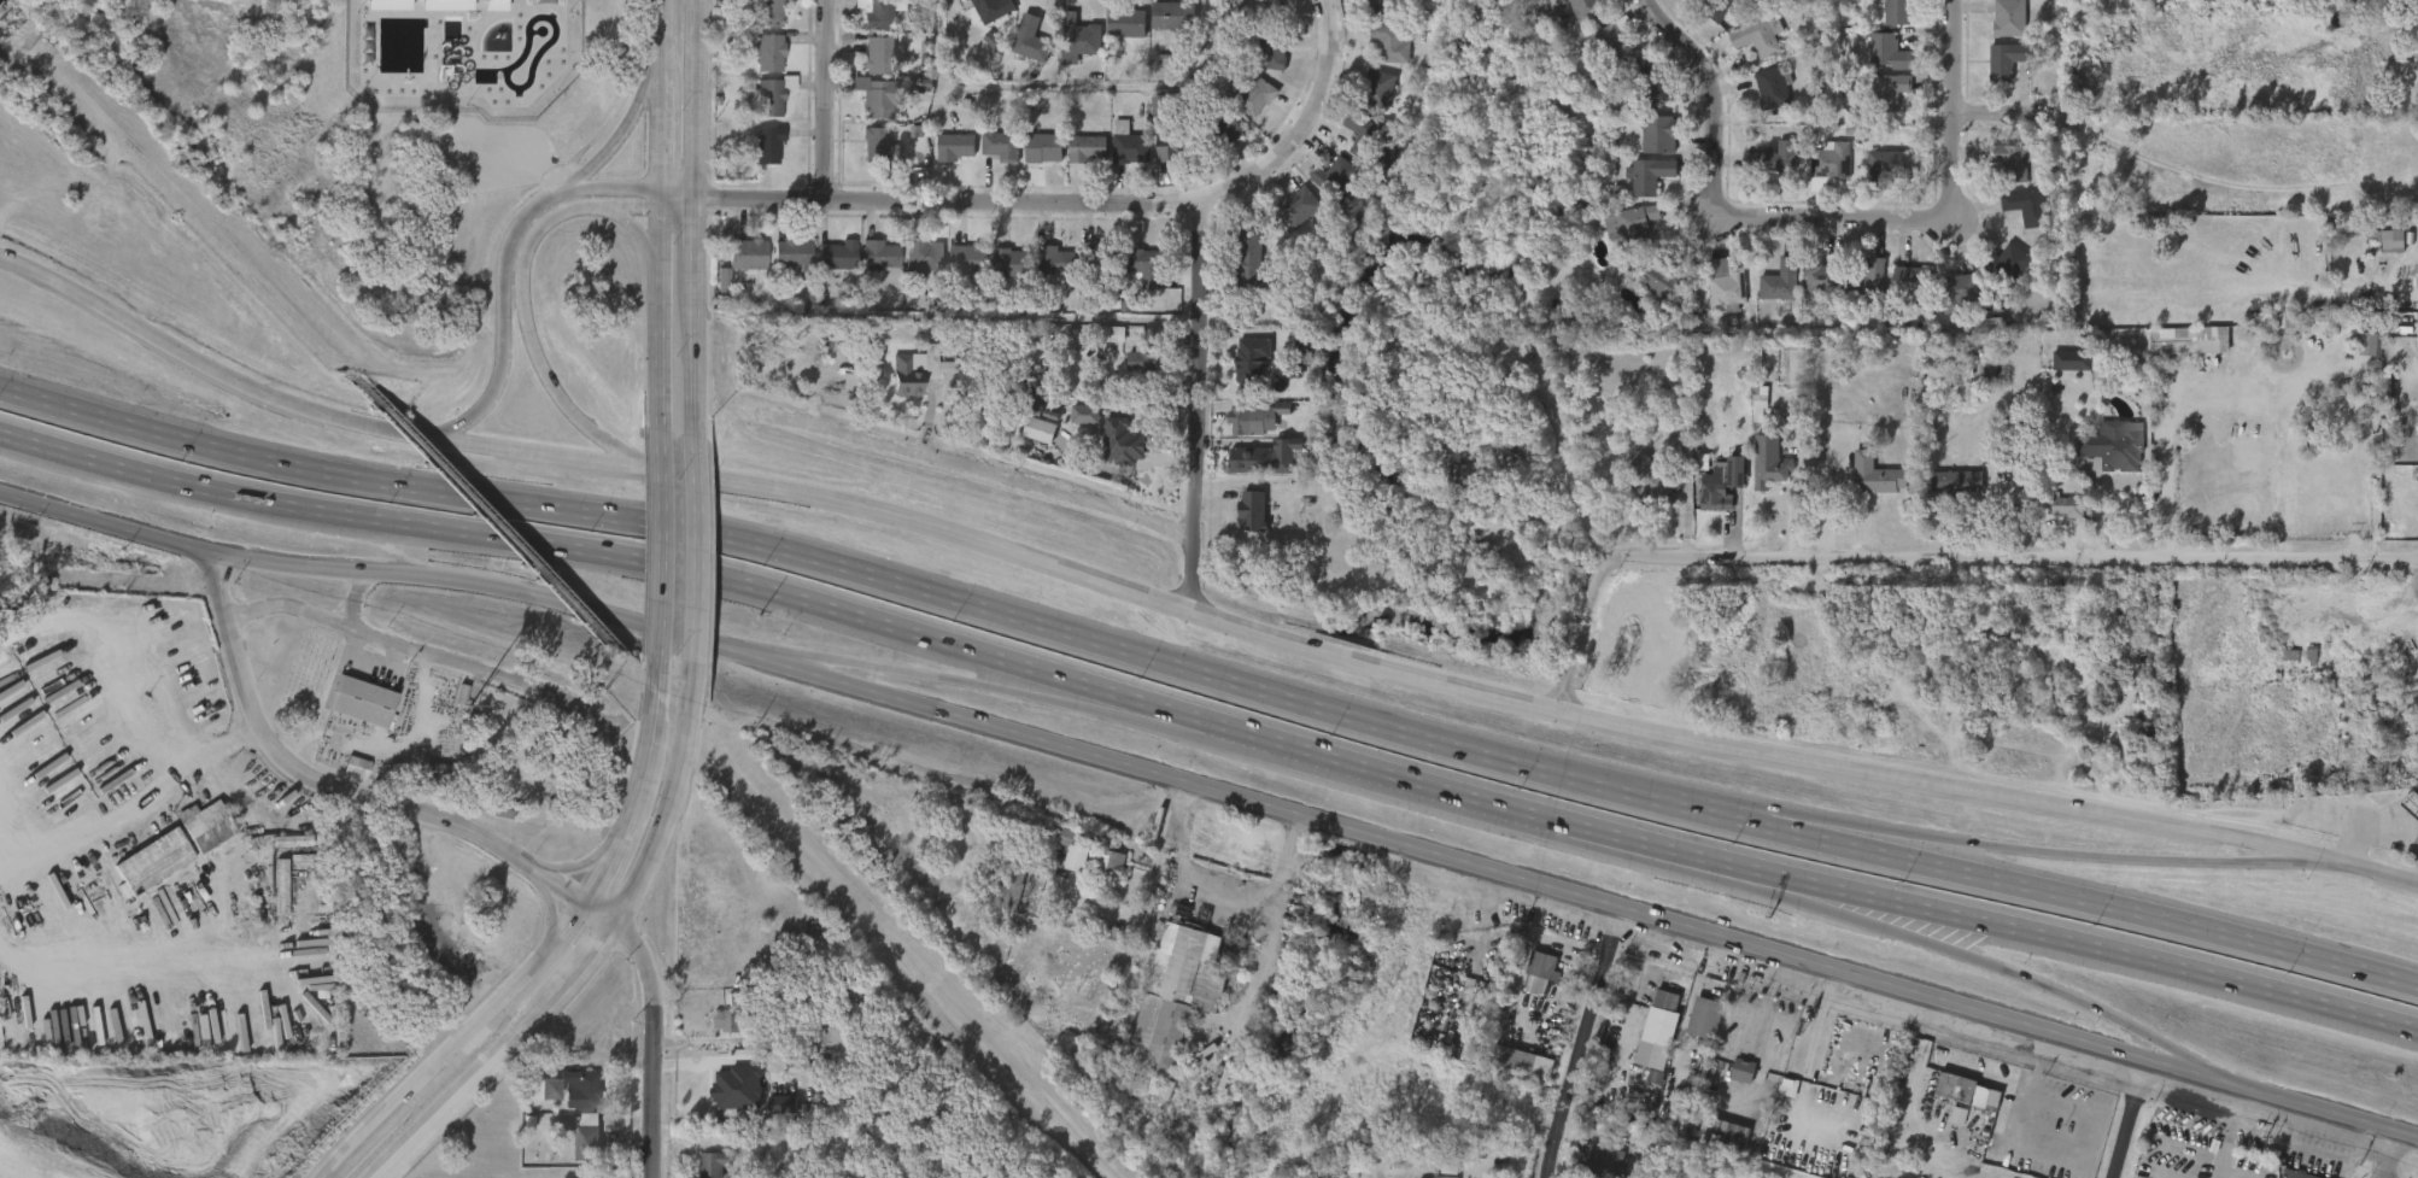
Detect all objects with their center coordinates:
building: (1384, 6)
building: (1716, 7)
building: (991, 8)
building: (1589, 10)
building: (1261, 11)
building: (1896, 11)
building: (766, 13)
building: (878, 13)
building: (1171, 16)
building: (2008, 18)
building: (1123, 20)
building: (1569, 22)
building: (866, 23)
building: (1155, 28)
building: (1997, 30)
building: (1116, 36)
building: (1758, 36)
building: (1032, 37)
building: (1079, 39)
building: (1391, 41)
building: (1612, 43)
building: (1746, 48)
building: (2414, 49)
building: (1270, 51)
building: (1887, 51)
building: (1019, 52)
building: (1069, 52)
building: (766, 53)
building: (877, 54)
building: (1377, 54)
building: (2006, 59)
building: (1873, 63)
building: (1259, 66)
building: (867, 68)
building: (1995, 72)
building: (1653, 86)
road: (1064, 87)
building: (1772, 87)
building: (1376, 89)
building: (1887, 90)
building: (768, 94)
building: (1249, 94)
road: (1951, 96)
building: (882, 98)
road: (827, 100)
building: (1760, 100)
building: (1644, 107)
road: (1981, 109)
building: (867, 112)
building: (2325, 112)
road: (1302, 125)
building: (1218, 130)
building: (1661, 134)
building: (1363, 135)
building: (1110, 139)
road: (617, 140)
park: (421, 141)
park: (367, 143)
building: (766, 143)
building: (1001, 145)
building: (1128, 145)
building: (882, 146)
building: (1173, 146)
building: (1348, 146)
building: (955, 147)
building: (1646, 147)
building: (1046, 148)
building: (1088, 150)
building: (757, 157)
building: (990, 158)
building: (868, 159)
building: (943, 159)
building: (1773, 159)
building: (2013, 159)
building: (1032, 160)
building: (1159, 160)
building: (1829, 160)
building: (1076, 162)
building: (1119, 162)
building: (1889, 164)
building: (1761, 171)
building: (1997, 171)
building: (1652, 174)
building: (1819, 174)
building: (1877, 176)
building: (1340, 183)
building: (1637, 187)
building: (1319, 188)
road: (617, 189)
railway: (178, 192)
road: (931, 200)
building: (1296, 206)
building: (2030, 206)
road: (623, 209)
road: (1726, 212)
road: (662, 215)
road: (696, 218)
building: (2013, 218)
building: (1634, 227)
building: (2389, 240)
building: (2376, 250)
building: (743, 254)
building: (792, 254)
building: (878, 254)
building: (836, 256)
building: (920, 258)
building: (966, 259)
building: (1254, 259)
building: (1053, 260)
building: (1100, 262)
building: (1009, 263)
building: (2010, 263)
building: (781, 265)
building: (2414, 265)
building: (870, 266)
building: (1142, 266)
building: (826, 268)
building: (1239, 270)
building: (958, 271)
building: (1044, 272)
building: (1001, 275)
building: (1822, 276)
building: (1997, 276)
building: (1134, 280)
building: (1782, 280)
building: (1663, 281)
building: (1915, 282)
building: (1870, 285)
building: (1728, 286)
road: (527, 287)
building: (1961, 291)
building: (1809, 292)
building: (1770, 293)
building: (1901, 294)
building: (1650, 295)
building: (1712, 301)
building: (1946, 304)
building: (1277, 320)
road: (513, 324)
building: (2177, 352)
building: (2356, 356)
building: (2073, 361)
building: (1249, 363)
building: (912, 371)
building: (2060, 373)
building: (1128, 374)
road: (1200, 405)
building: (1255, 416)
building: (1073, 427)
building: (1041, 429)
building: (1243, 430)
building: (1124, 441)
building: (1027, 443)
building: (2113, 446)
building: (1110, 452)
building: (1257, 461)
road: (980, 470)
building: (1770, 470)
building: (1248, 474)
building: (1875, 475)
building: (1462, 477)
building: (1758, 481)
building: (1955, 482)
building: (1651, 483)
building: (1864, 487)
building: (1715, 490)
building: (1944, 494)
road: (2153, 496)
building: (2055, 503)
road: (1685, 509)
road: (2098, 511)
railway: (485, 514)
building: (2039, 516)
building: (1241, 523)
road: (658, 545)
road: (595, 551)
road: (695, 551)
road: (2013, 567)
road: (1600, 593)
road: (353, 598)
road: (1193, 610)
building: (2297, 654)
road: (111, 655)
road: (425, 656)
road: (812, 661)
road: (1210, 675)
road: (965, 681)
building: (362, 701)
building: (455, 705)
road: (1124, 709)
road: (229, 743)
building: (550, 754)
building: (441, 772)
building: (345, 779)
road: (329, 790)
road: (1213, 791)
road: (1480, 799)
building: (2408, 805)
gas station: (2408, 805)
building: (2406, 820)
building: (206, 825)
road: (100, 826)
road: (1823, 828)
road: (2371, 840)
road: (4, 848)
road: (2056, 851)
building: (281, 852)
road: (2273, 856)
building: (1094, 857)
building: (152, 862)
road: (529, 866)
building: (1083, 868)
building: (1012, 884)
road: (1222, 887)
building: (271, 898)
road: (1832, 902)
road: (2101, 948)
road: (546, 950)
road: (595, 953)
road: (135, 965)
road: (2008, 971)
building: (1539, 972)
building: (1527, 985)
building: (1176, 995)
road: (1755, 1002)
building: (1704, 1016)
building: (736, 1020)
road: (654, 1025)
building: (1693, 1028)
building: (1661, 1031)
building: (715, 1032)
road: (1588, 1043)
road: (2164, 1049)
building: (1511, 1059)
building: (1743, 1069)
building: (1510, 1073)
building: (1731, 1083)
building: (570, 1088)
building: (560, 1100)
building: (726, 1101)
building: (1963, 1102)
building: (771, 1117)
road: (2129, 1118)
building: (1731, 1133)
building: (587, 1143)
road: (2384, 1153)
building: (1604, 1161)
building: (714, 1164)
building: (2295, 1174)
building: (1448, 1177)

